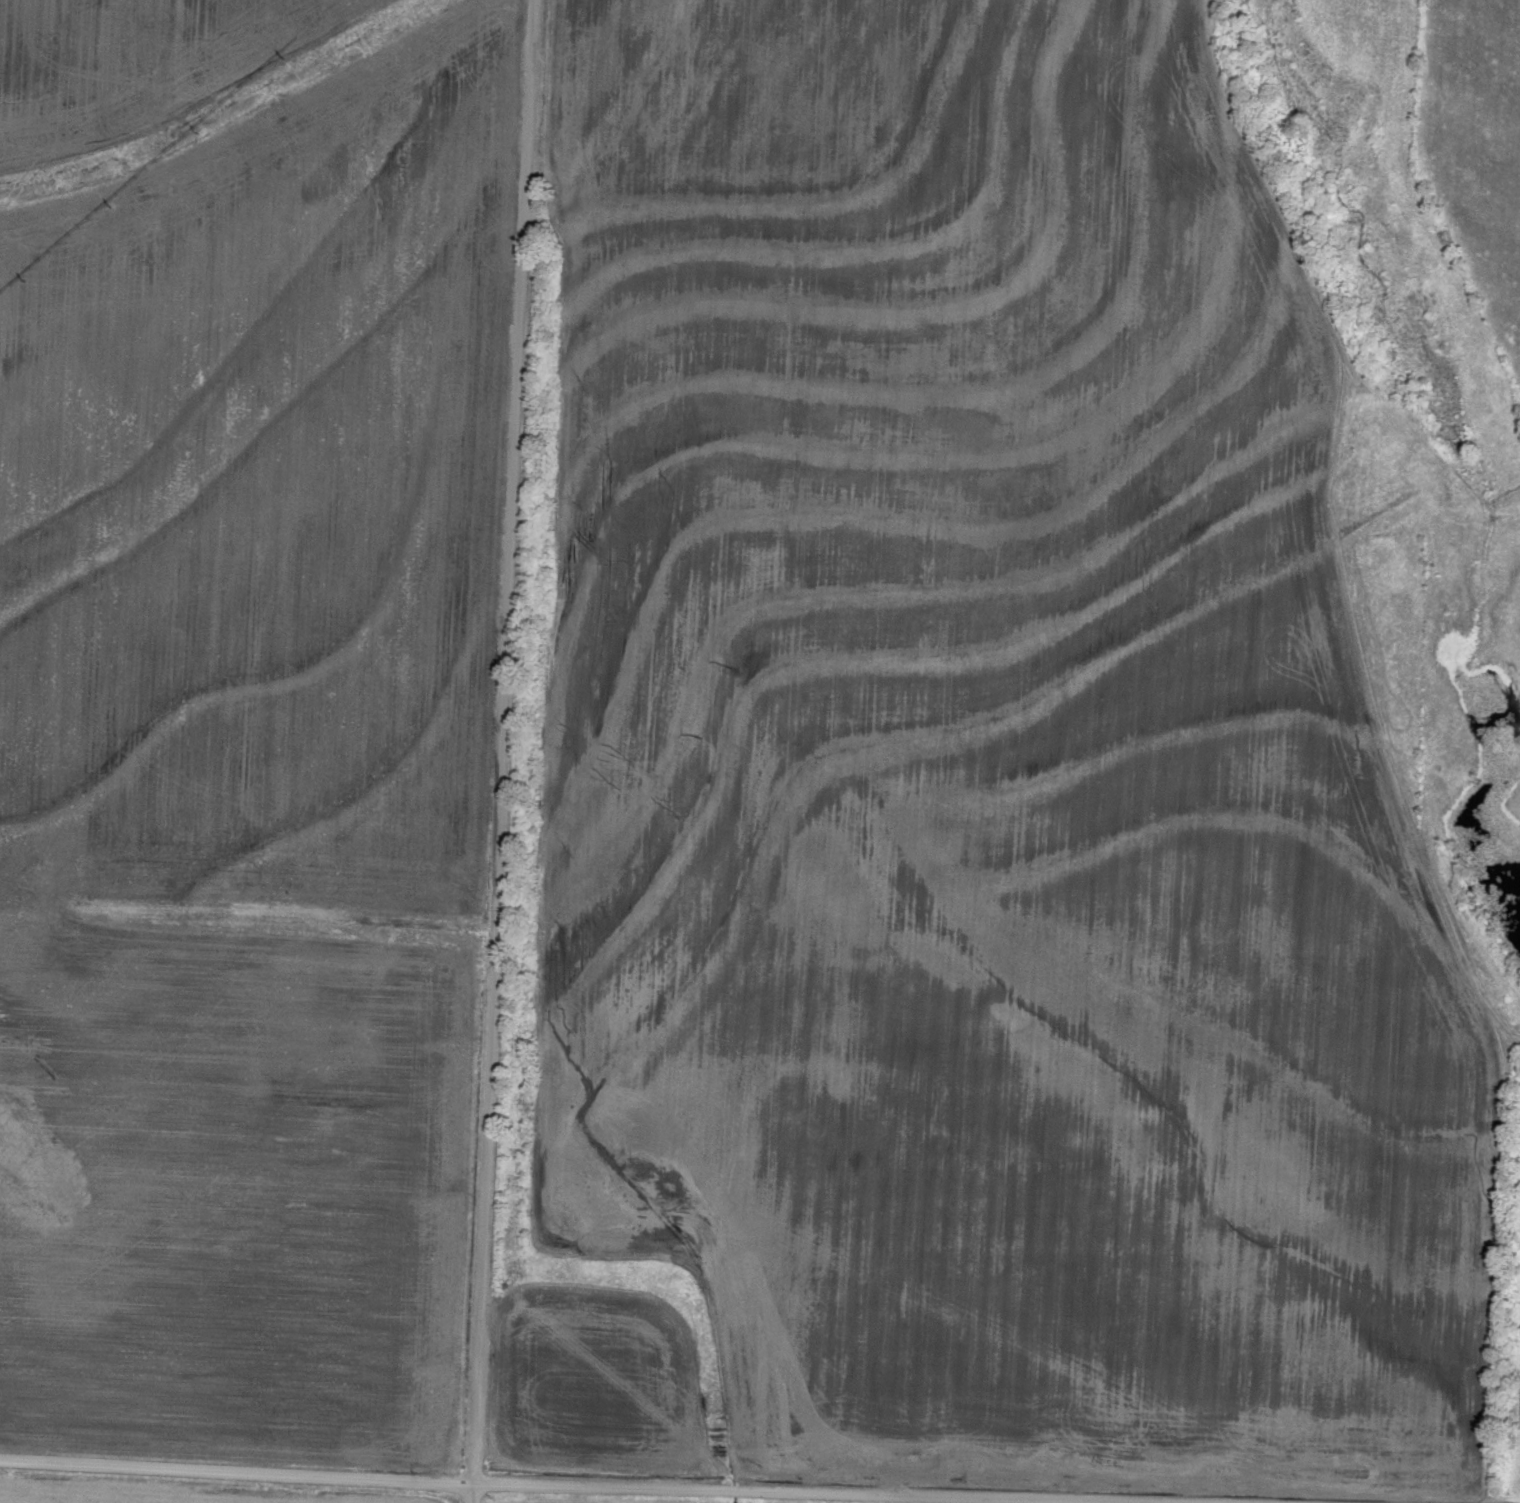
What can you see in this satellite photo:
road: (507, 751)
road: (587, 1481)

